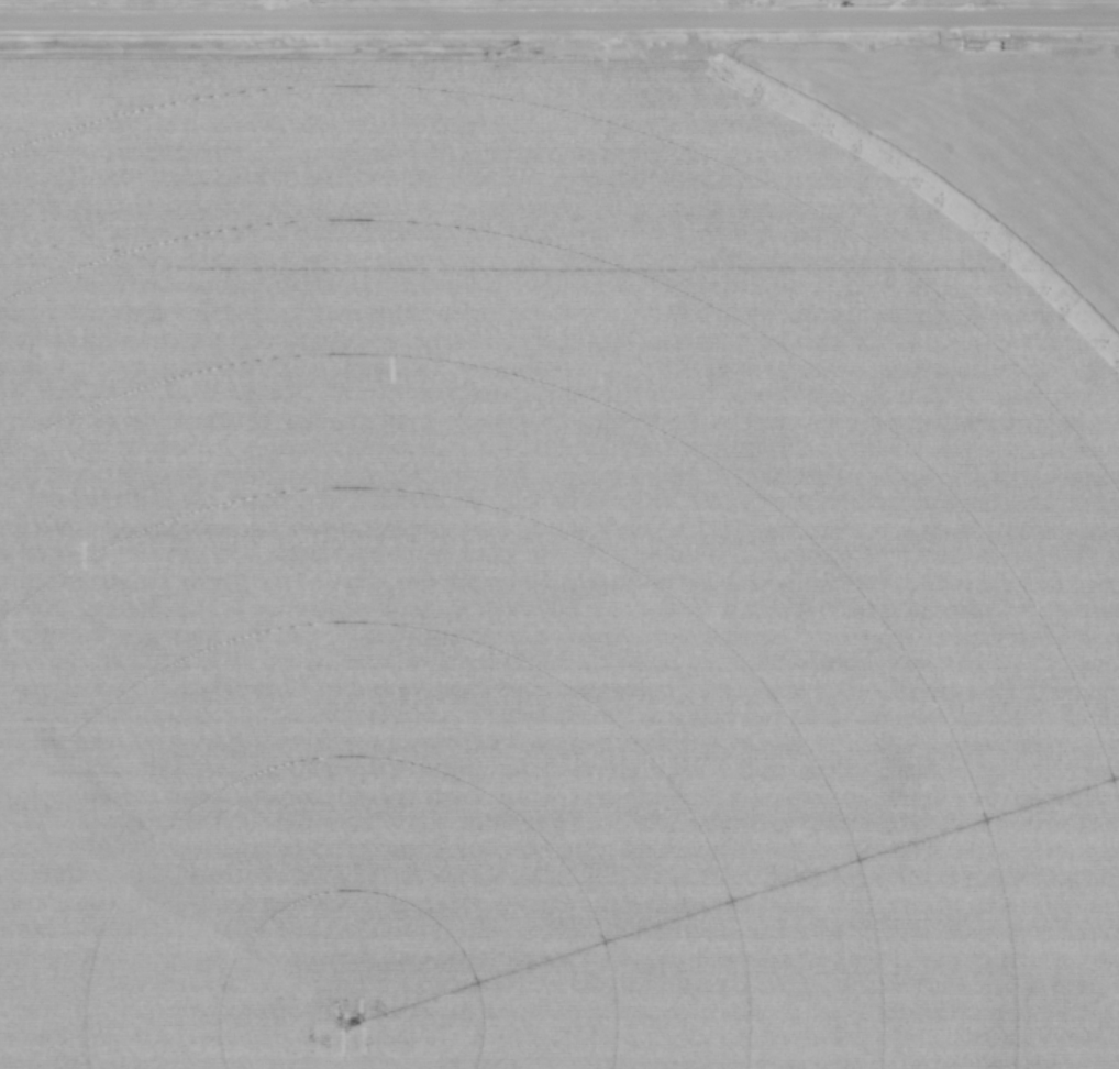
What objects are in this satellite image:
road: (898, 9)
road: (971, 9)
road: (559, 21)
crop: (559, 561)

